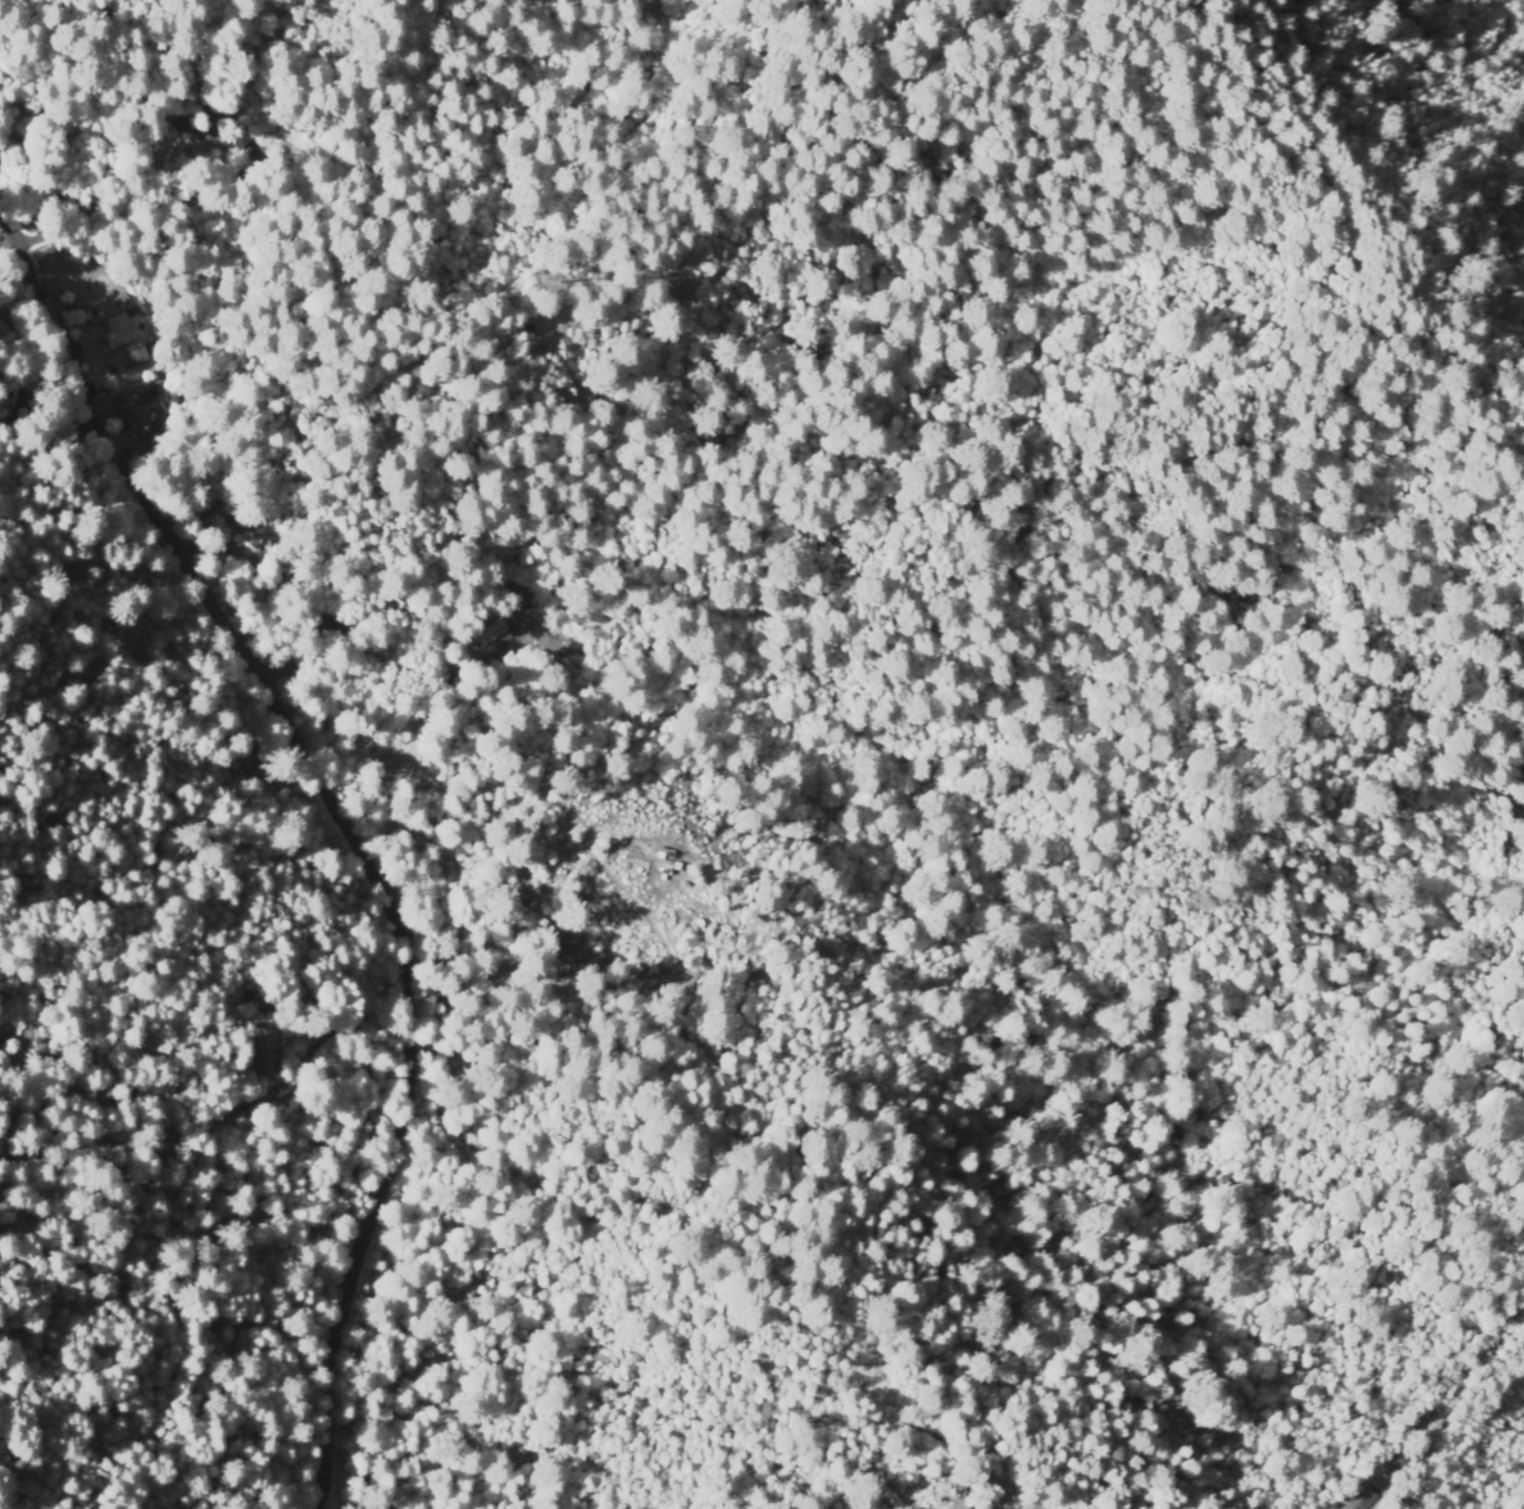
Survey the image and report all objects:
building: (211, 120)
building: (253, 149)
building: (120, 331)
building: (139, 355)
building: (16, 395)
building: (137, 417)
building: (335, 626)
road: (349, 821)
building: (656, 853)
building: (661, 873)
building: (270, 1050)
building: (237, 1120)
building: (1404, 1467)
building: (1362, 1499)
building: (990, 1508)

